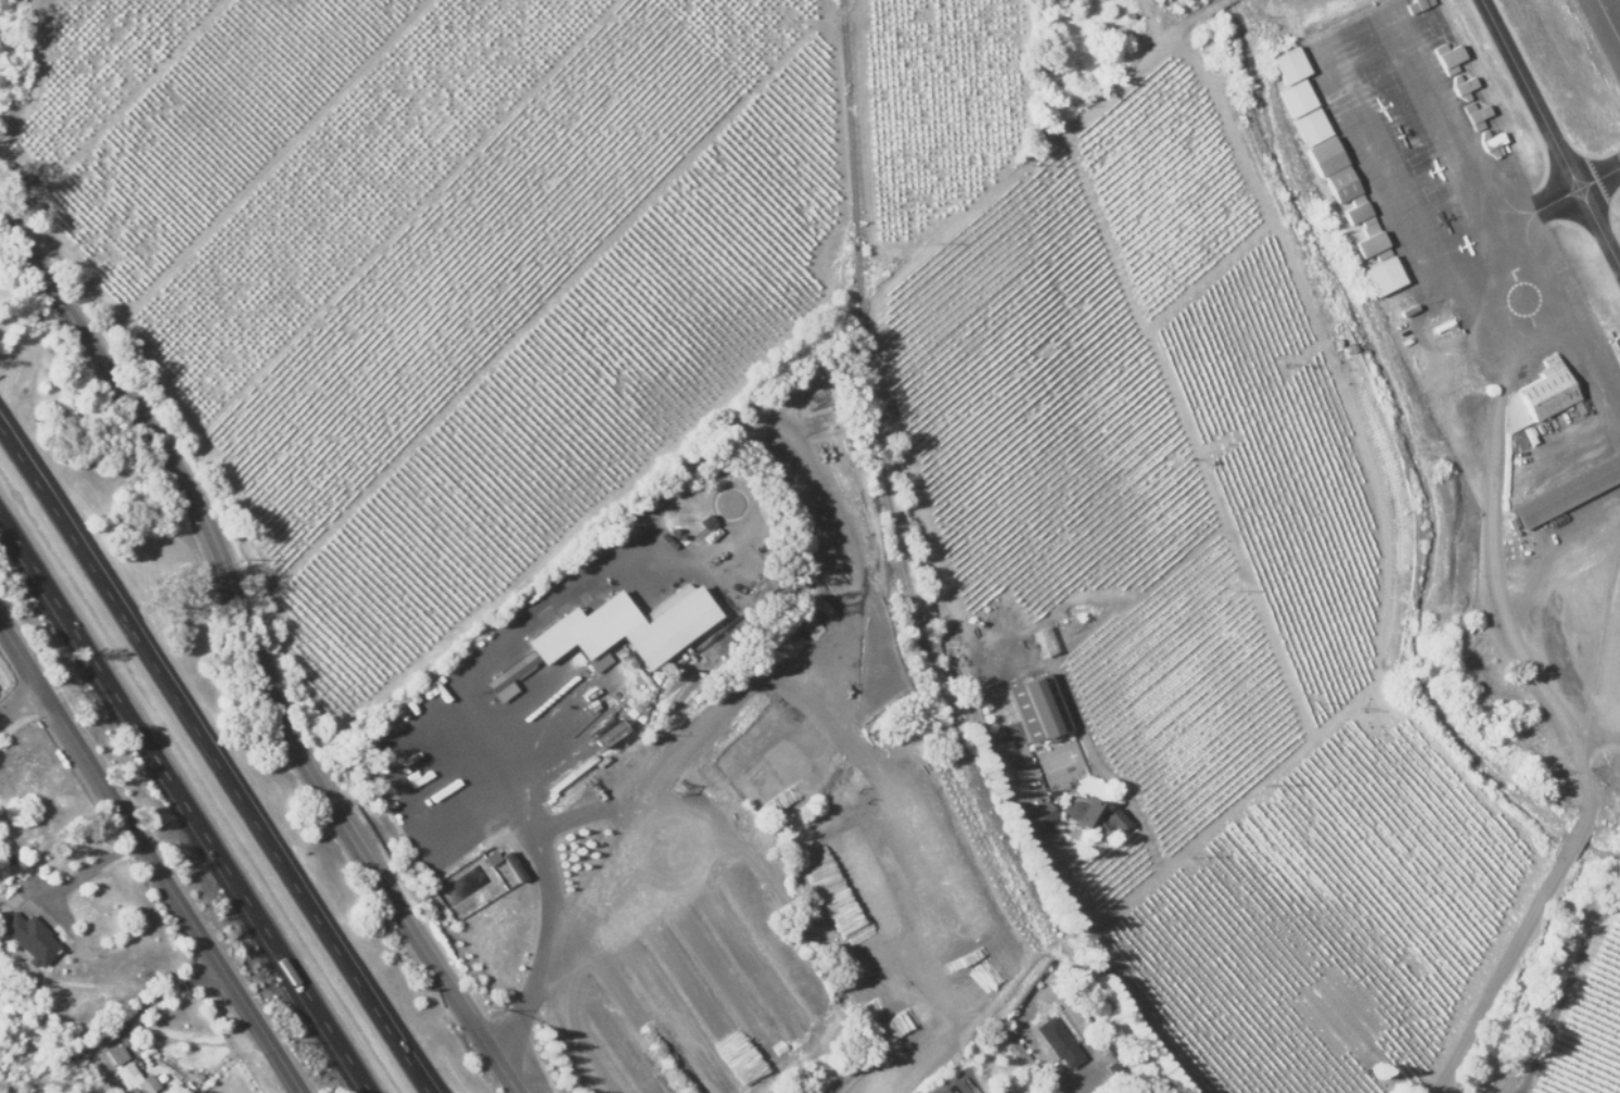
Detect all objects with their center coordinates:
airport hangar: (1416, 4)
building: (1416, 4)
airport runway: (1613, 11)
airport hangar: (1446, 56)
building: (1446, 56)
airport hangar: (1287, 64)
building: (1287, 64)
road: (31, 75)
airport hangar: (1462, 86)
building: (1462, 86)
airport hangar: (1294, 98)
building: (1294, 98)
airport hangar: (1475, 114)
building: (1475, 114)
airport hangar: (1309, 126)
building: (1309, 126)
airport taxiway: (1551, 131)
airport hangar: (1490, 141)
building: (1490, 141)
airport hangar: (1323, 154)
building: (1323, 154)
airport hangar: (1339, 182)
building: (1339, 182)
airport taxiway: (1574, 199)
airport hangar: (1356, 211)
building: (1356, 211)
airport apron: (1463, 216)
airport hangar: (1369, 242)
building: (1369, 242)
airport hangar: (1381, 275)
building: (1381, 275)
building: (1442, 325)
storage tank: (1442, 325)
airport: (1476, 336)
airport hangar: (1546, 389)
building: (1546, 389)
airport hangar: (1568, 490)
building: (1568, 490)
airport apron: (1581, 517)
railway: (907, 577)
road: (1498, 595)
building: (625, 626)
road: (255, 653)
building: (509, 672)
building: (1480, 677)
building: (1036, 708)
road: (23, 709)
road: (218, 754)
road: (1593, 796)
road: (184, 802)
building: (1093, 816)
building: (1037, 817)
road: (1577, 843)
road: (149, 857)
road: (1145, 882)
road: (571, 925)
building: (28, 937)
road: (1504, 979)
road: (156, 991)
building: (1057, 1043)
building: (116, 1055)
road: (960, 1055)
building: (136, 1080)
road: (1092, 1088)

